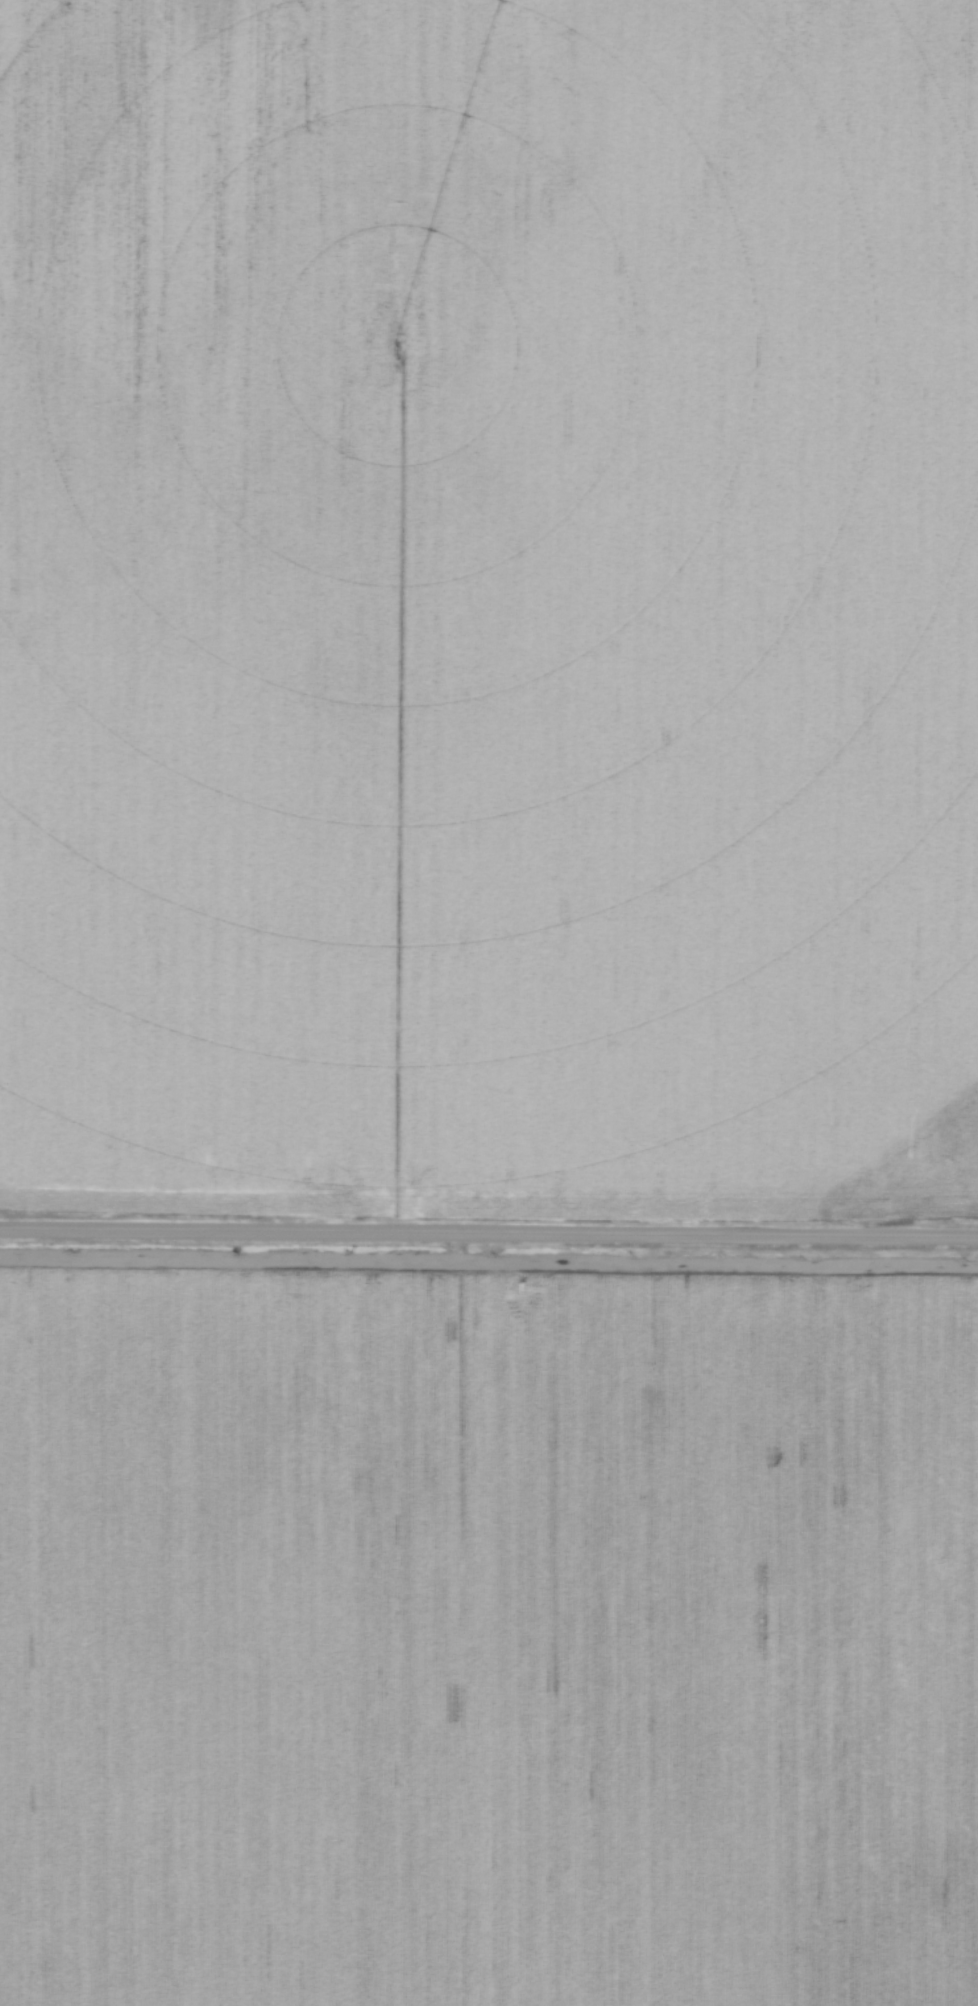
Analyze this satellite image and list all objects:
road: (489, 1234)

